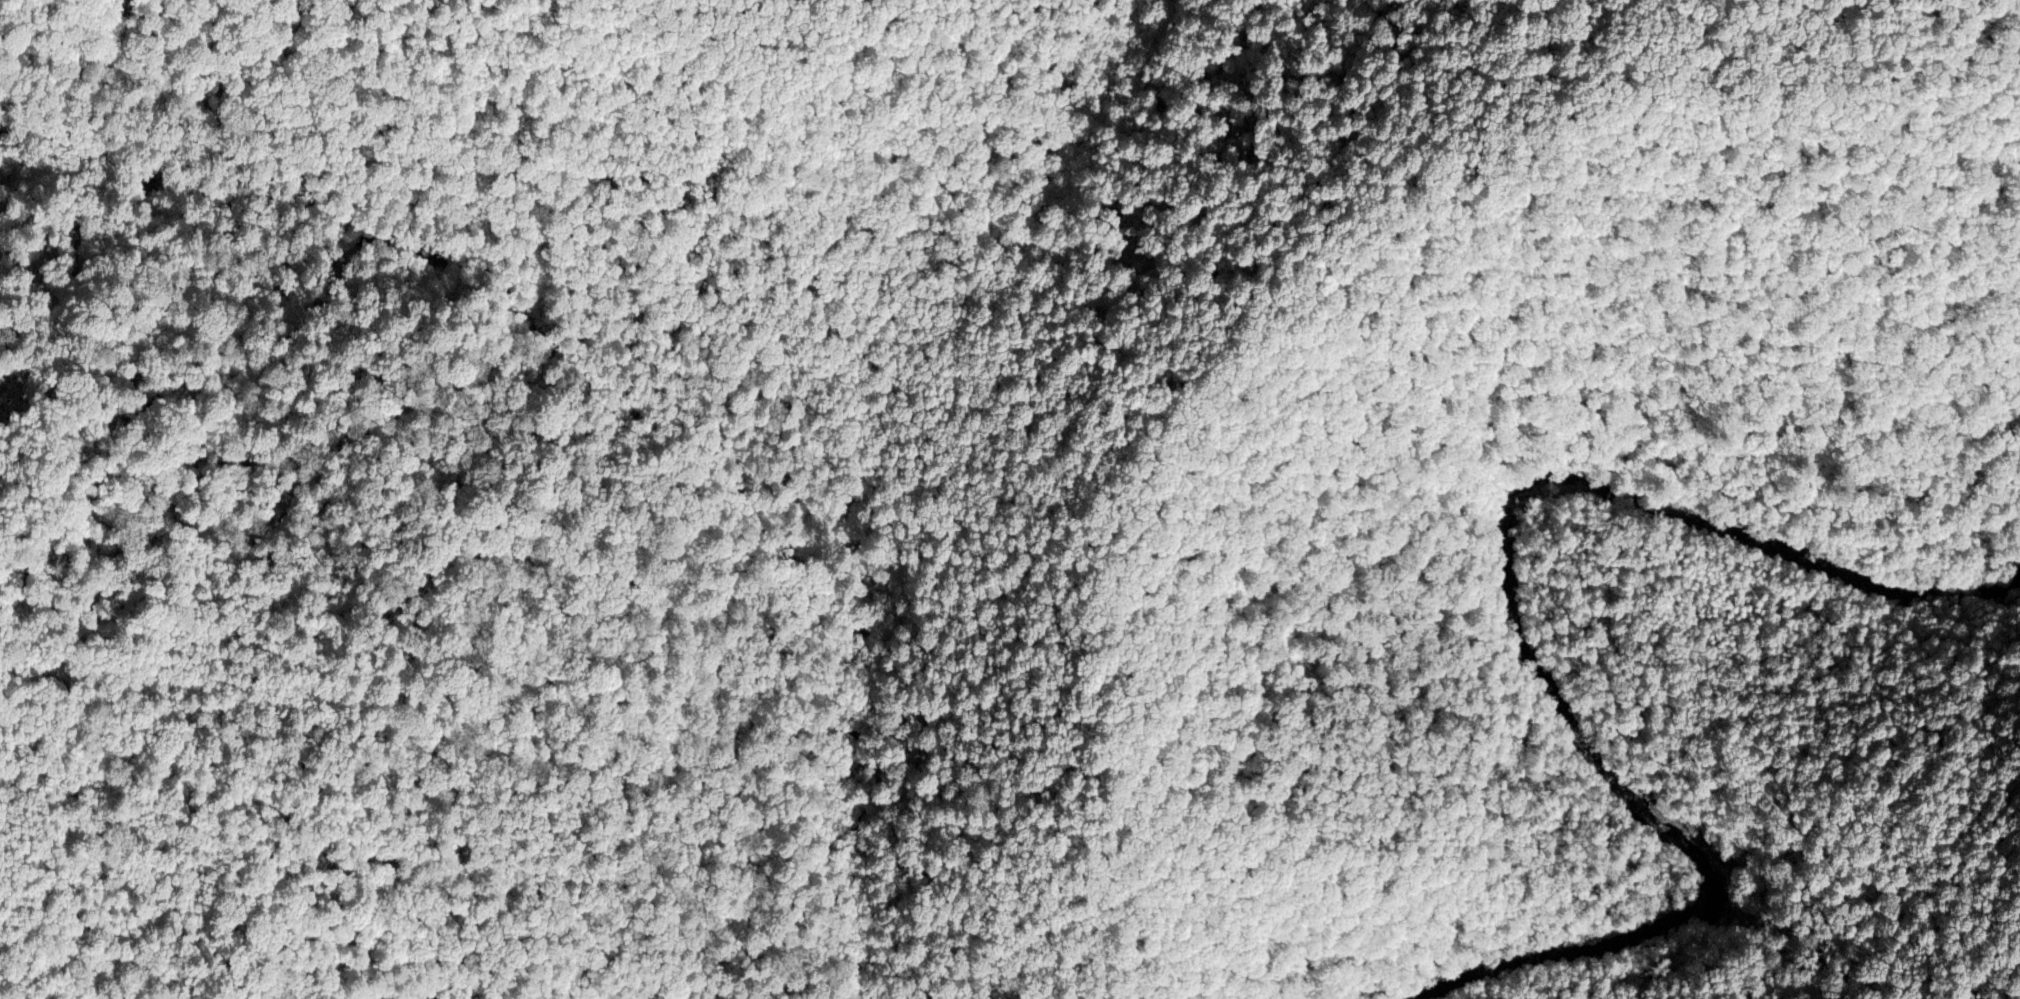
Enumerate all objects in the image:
road: (757, 138)
road: (614, 265)
river: (1518, 632)
road: (1629, 643)

